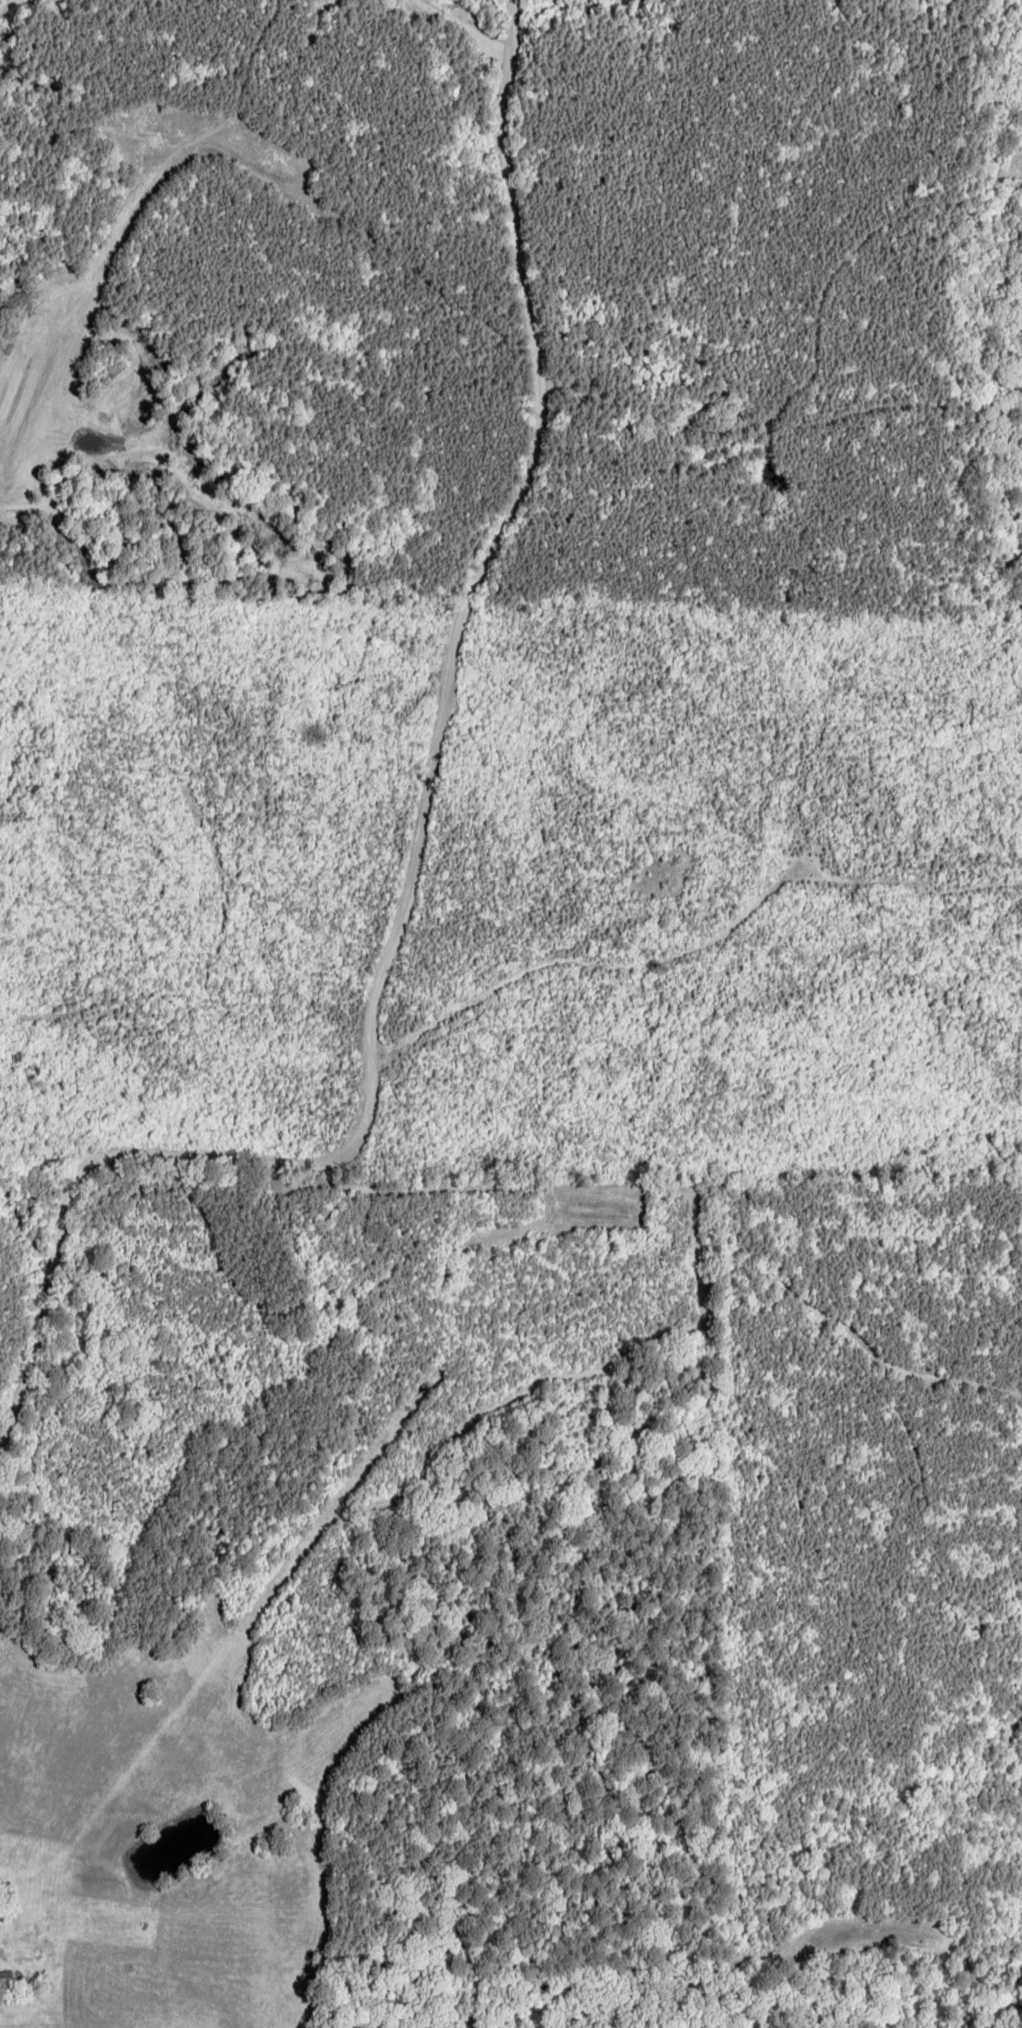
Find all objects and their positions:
road: (414, 929)
building: (6, 1978)

